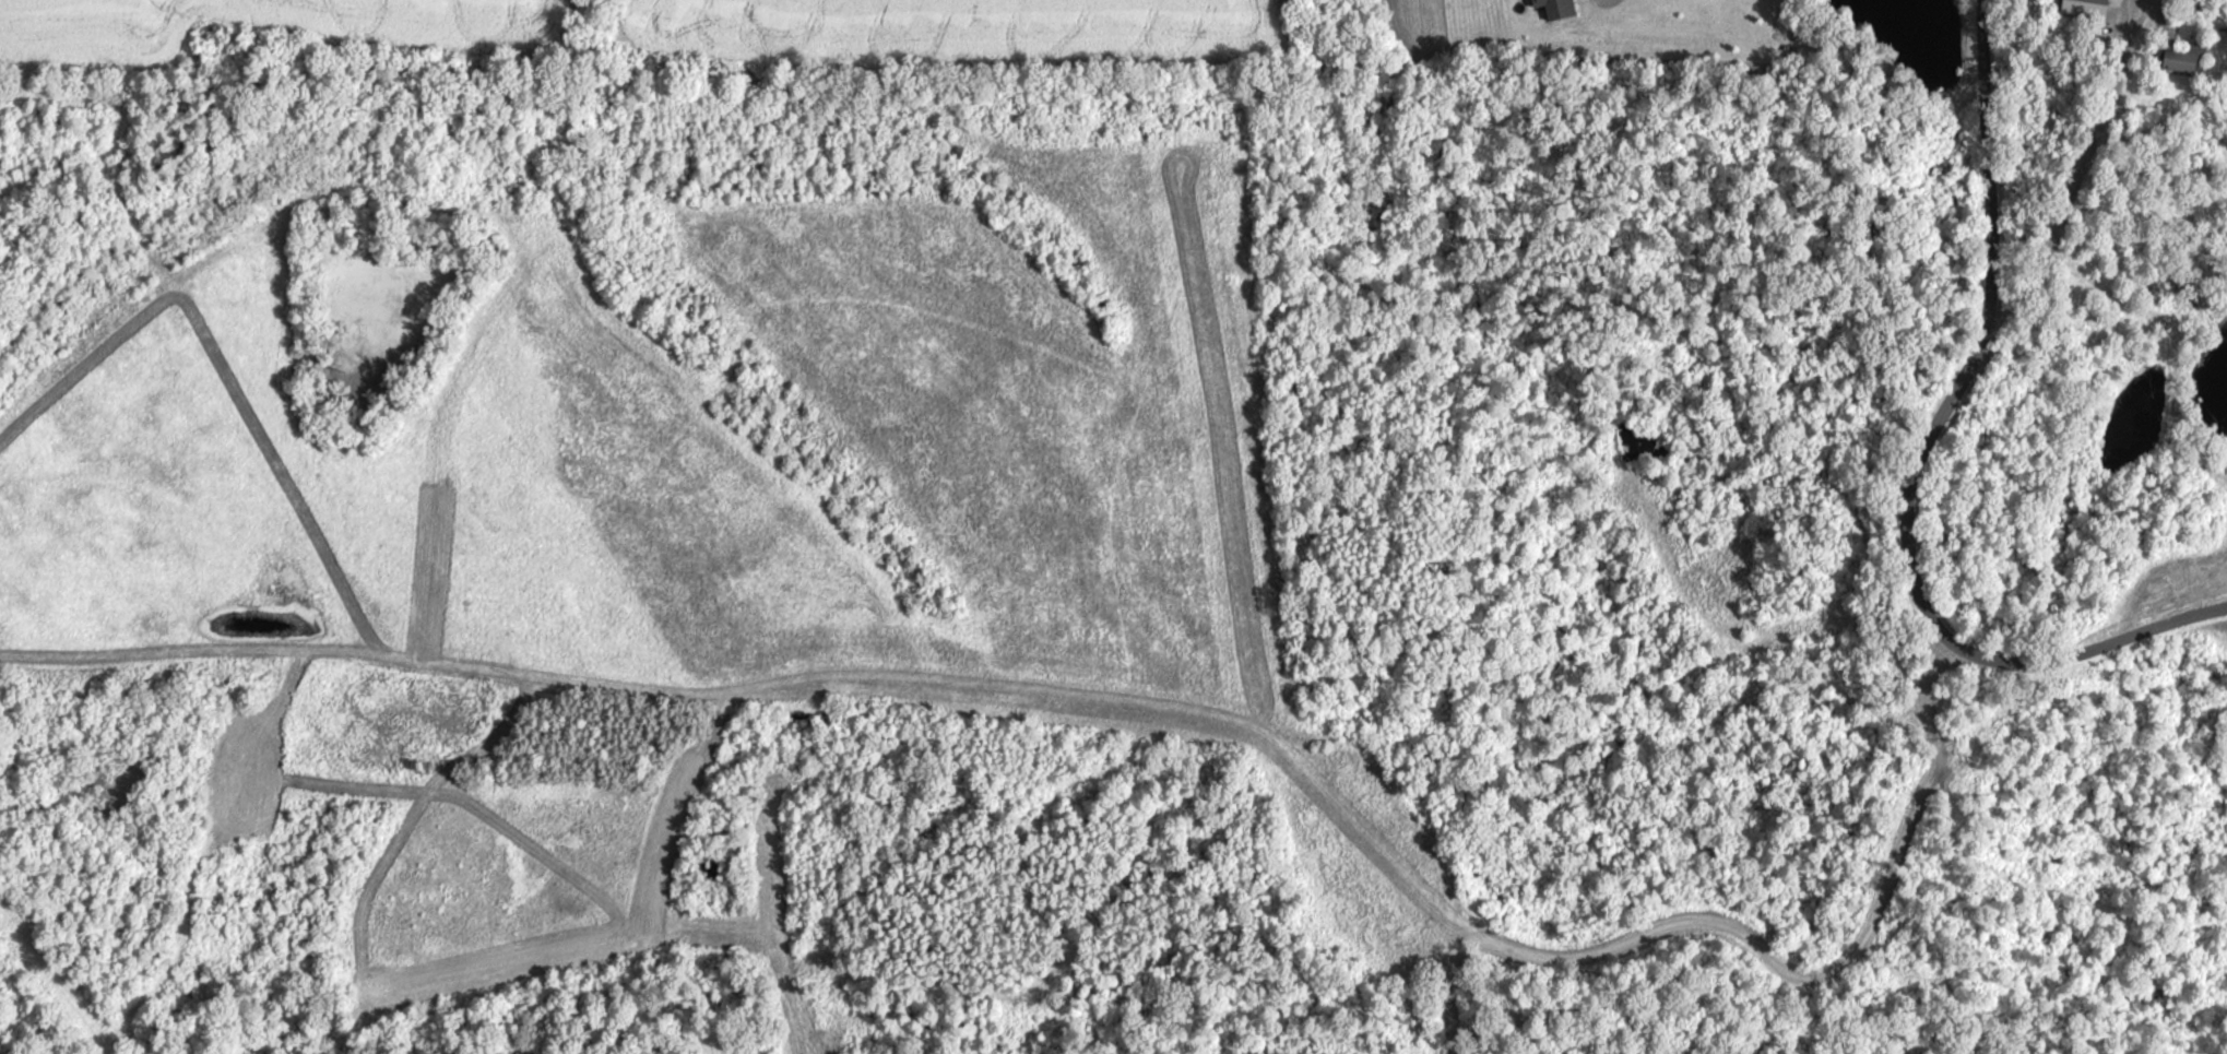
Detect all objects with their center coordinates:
building: (2095, 1)
building: (1555, 8)
building: (2179, 56)
road: (2081, 158)
road: (1940, 462)

